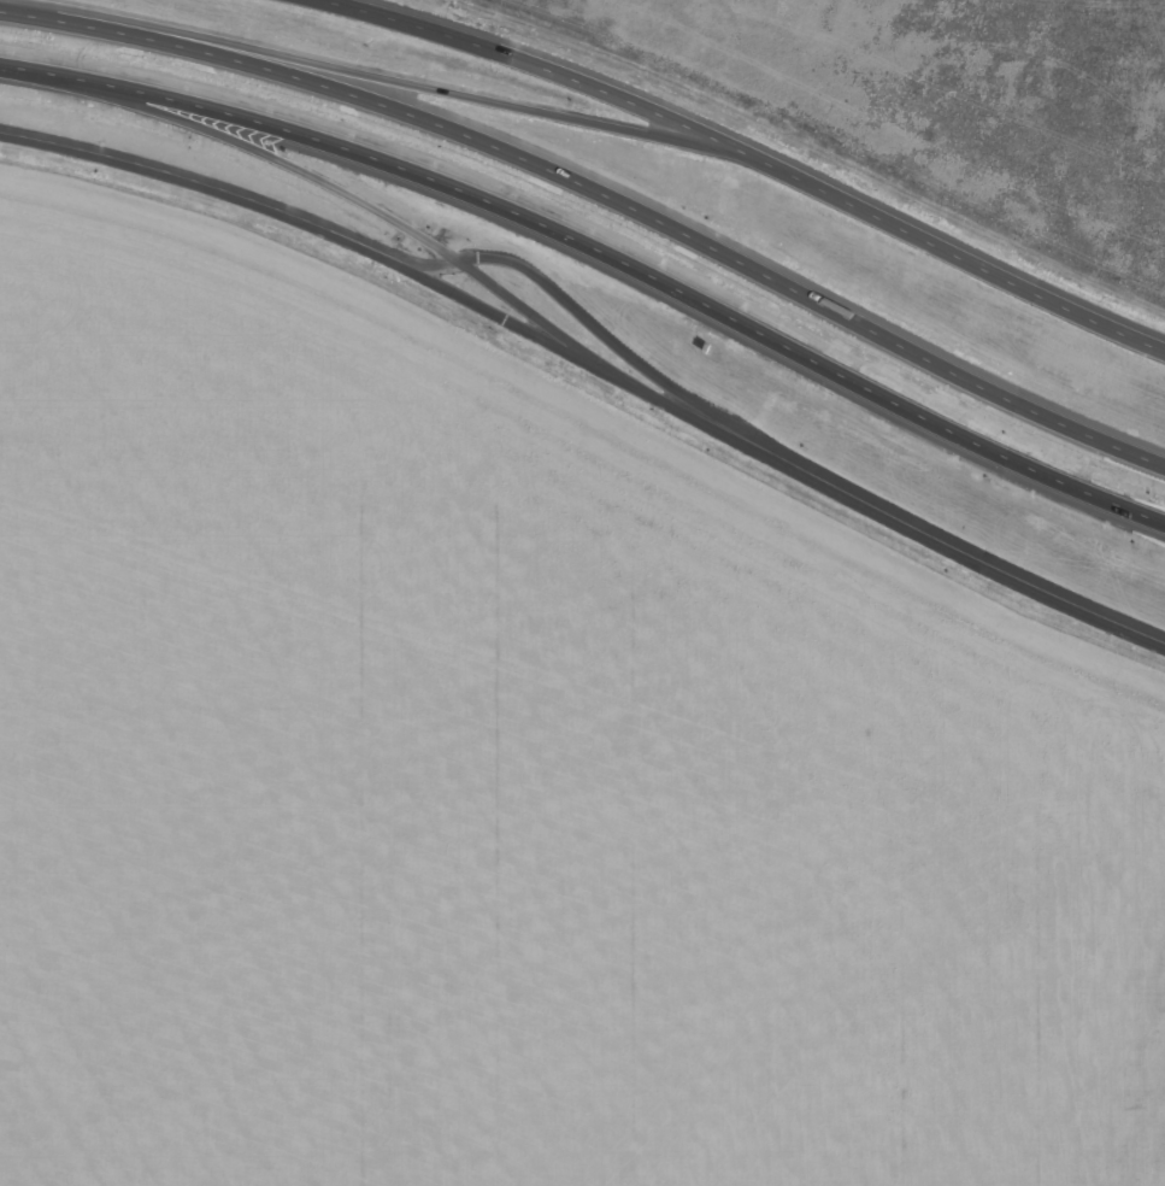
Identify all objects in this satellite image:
road: (104, 27)
road: (557, 71)
road: (496, 104)
road: (207, 186)
road: (333, 187)
road: (695, 240)
road: (598, 253)
road: (972, 263)
road: (595, 324)
road: (583, 362)
road: (960, 554)

